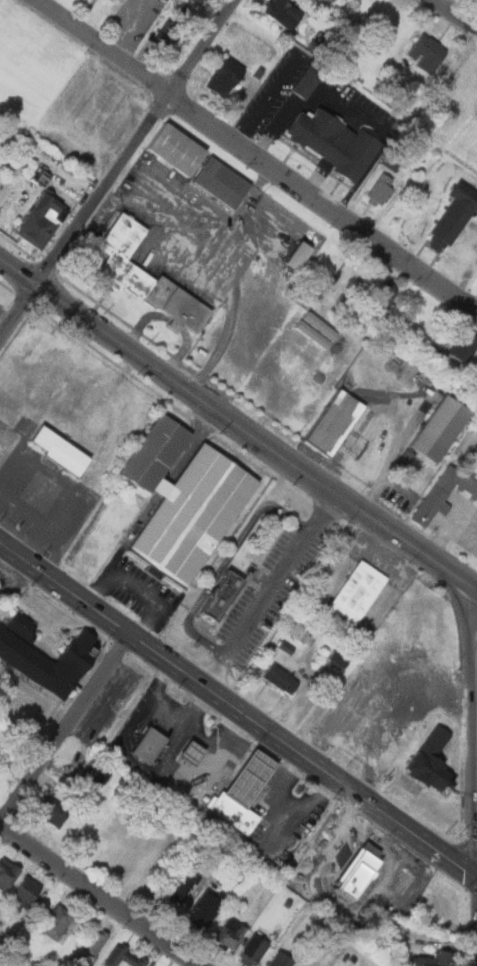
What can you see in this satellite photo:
building: (118, 0)
building: (122, 1)
building: (193, 1)
building: (198, 1)
building: (284, 13)
road: (456, 14)
building: (168, 35)
building: (426, 53)
building: (224, 80)
building: (308, 81)
road: (141, 141)
building: (334, 142)
building: (176, 149)
road: (256, 158)
building: (223, 183)
building: (381, 188)
road: (239, 209)
building: (456, 213)
building: (43, 218)
building: (300, 254)
road: (221, 264)
building: (145, 275)
building: (382, 296)
road: (19, 311)
building: (464, 344)
road: (238, 421)
building: (336, 421)
building: (442, 426)
building: (59, 449)
building: (157, 450)
road: (51, 480)
building: (444, 491)
building: (193, 515)
road: (44, 521)
road: (225, 560)
road: (137, 588)
road: (270, 588)
building: (356, 594)
building: (221, 595)
building: (299, 632)
building: (19, 651)
building: (340, 658)
building: (395, 667)
building: (280, 678)
road: (193, 705)
road: (236, 708)
road: (186, 727)
road: (65, 728)
building: (151, 745)
building: (194, 752)
building: (184, 753)
road: (473, 753)
building: (432, 761)
building: (95, 778)
building: (252, 778)
road: (291, 806)
building: (54, 812)
building: (235, 813)
building: (344, 857)
building: (360, 870)
building: (7, 873)
traffic signals: (473, 876)
road: (475, 876)
road: (475, 879)
building: (182, 886)
building: (26, 894)
road: (102, 895)
road: (475, 905)
building: (204, 909)
building: (57, 922)
building: (229, 933)
building: (93, 947)
building: (253, 950)
building: (124, 956)
building: (281, 959)
building: (436, 959)

